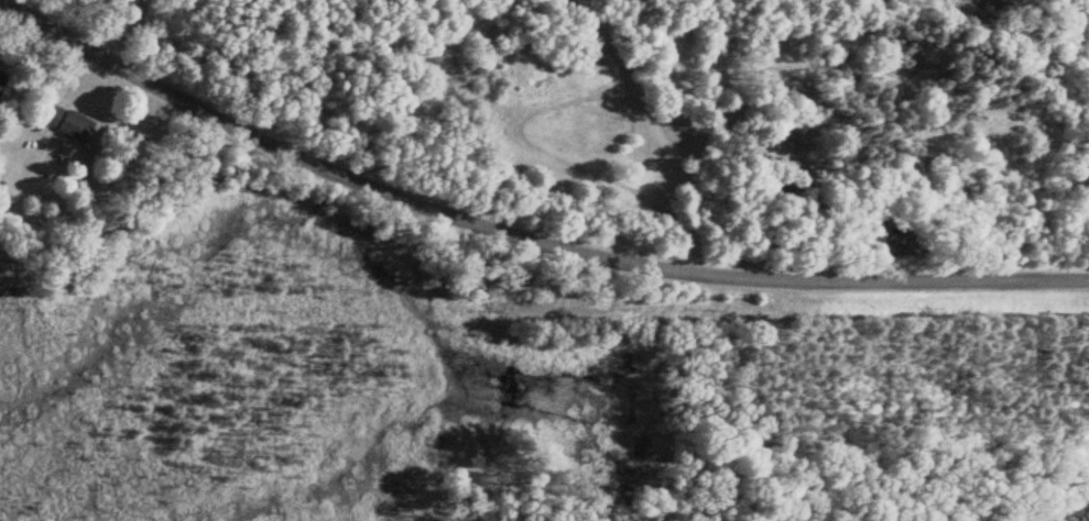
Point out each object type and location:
building: (6, 91)
building: (67, 124)
road: (524, 231)

